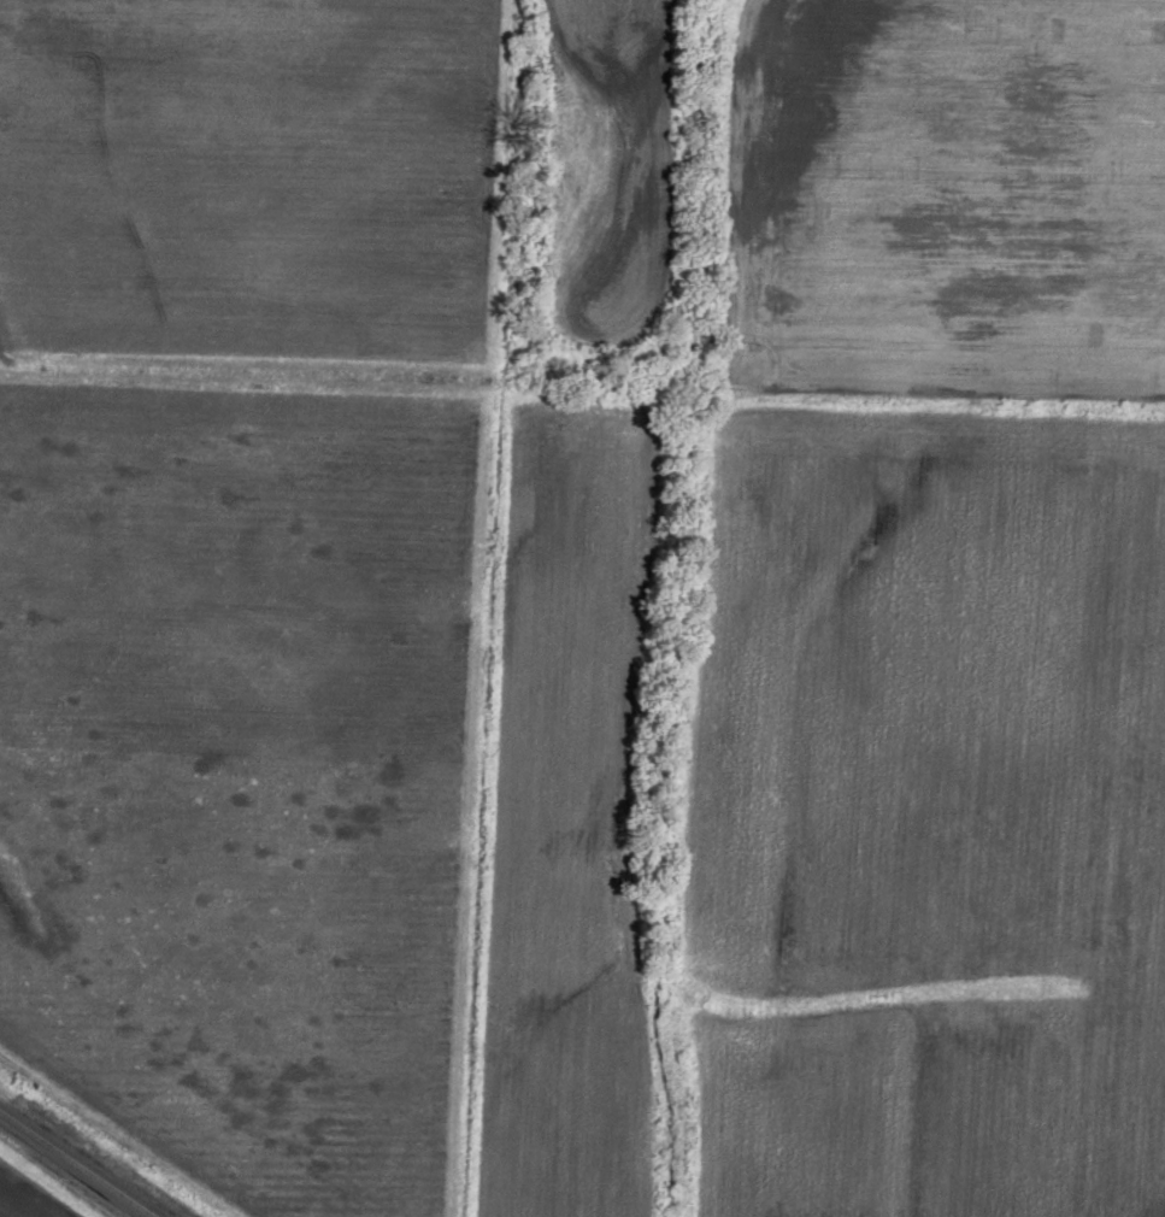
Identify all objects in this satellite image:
railway: (76, 1164)

